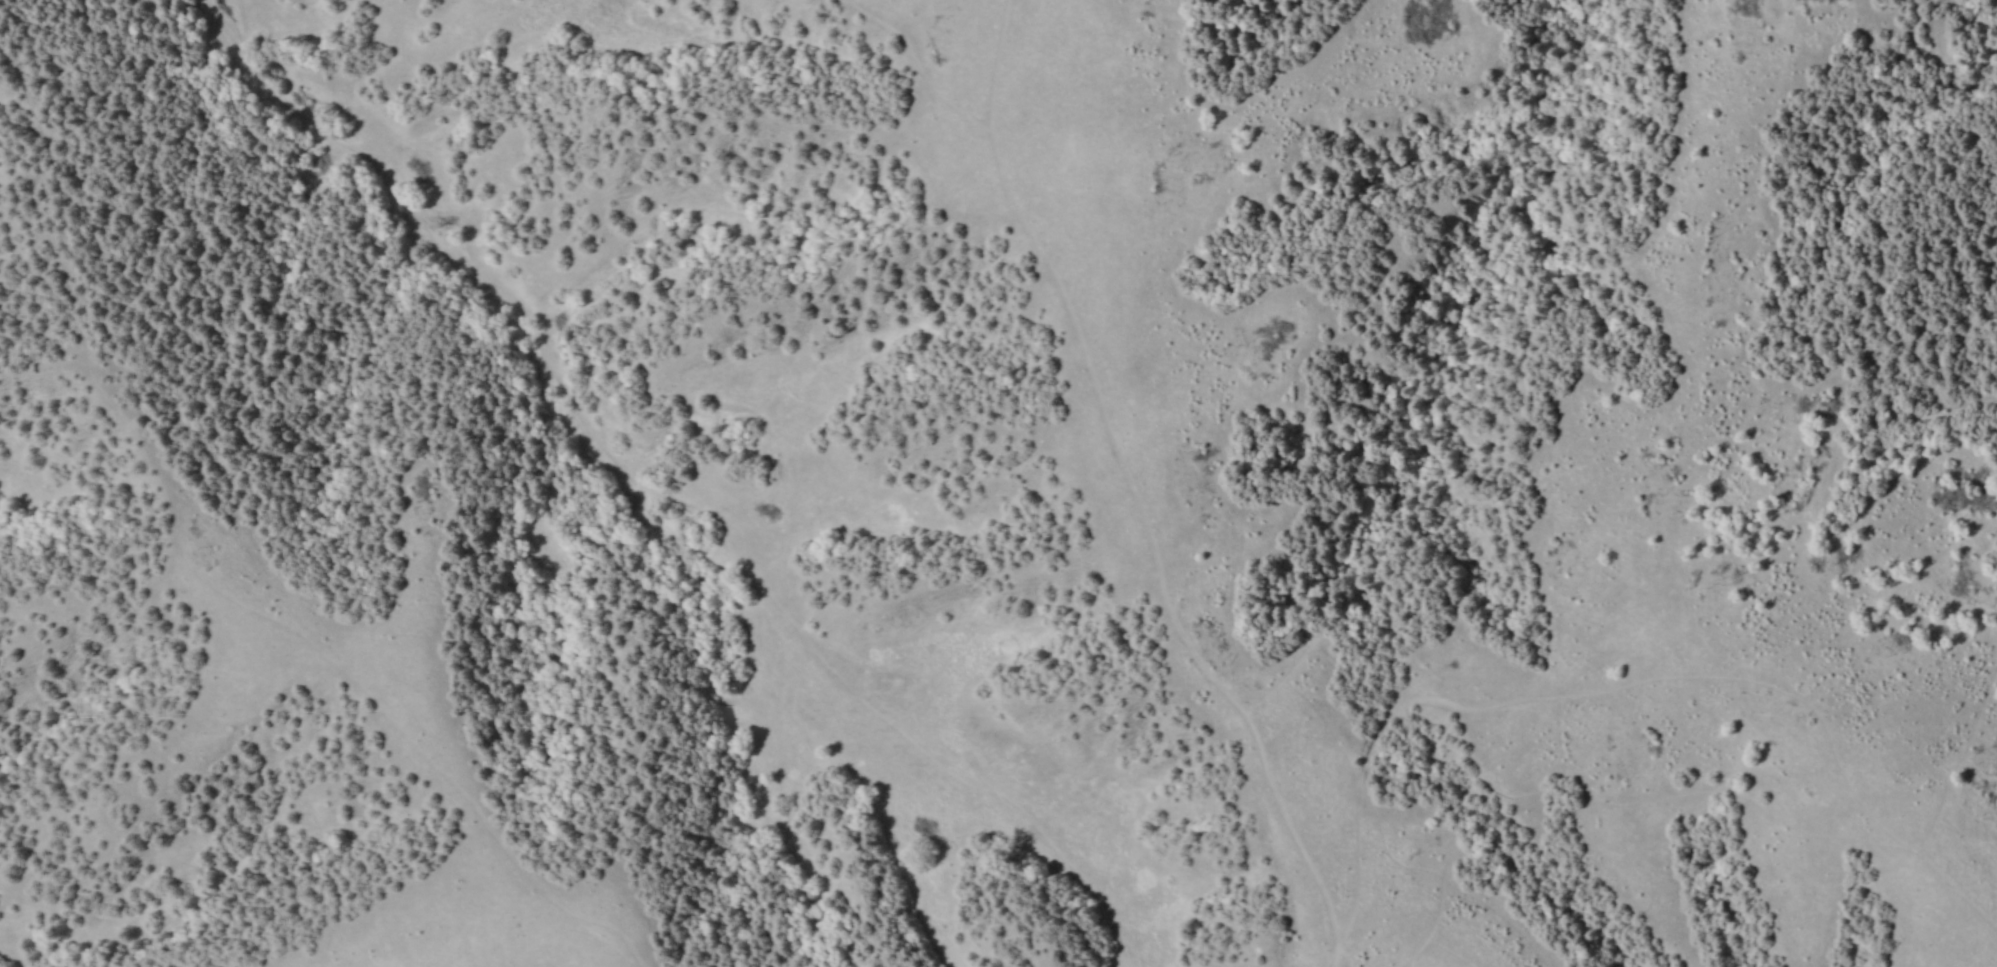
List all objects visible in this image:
road: (913, 60)
road: (101, 76)
road: (25, 91)
road: (49, 237)
road: (1497, 243)
crop: (998, 483)
road: (666, 490)
road: (1136, 492)
road: (1338, 612)
road: (336, 661)
road: (1572, 694)
road: (1958, 758)
road: (1598, 799)
road: (1956, 898)
road: (1425, 924)

